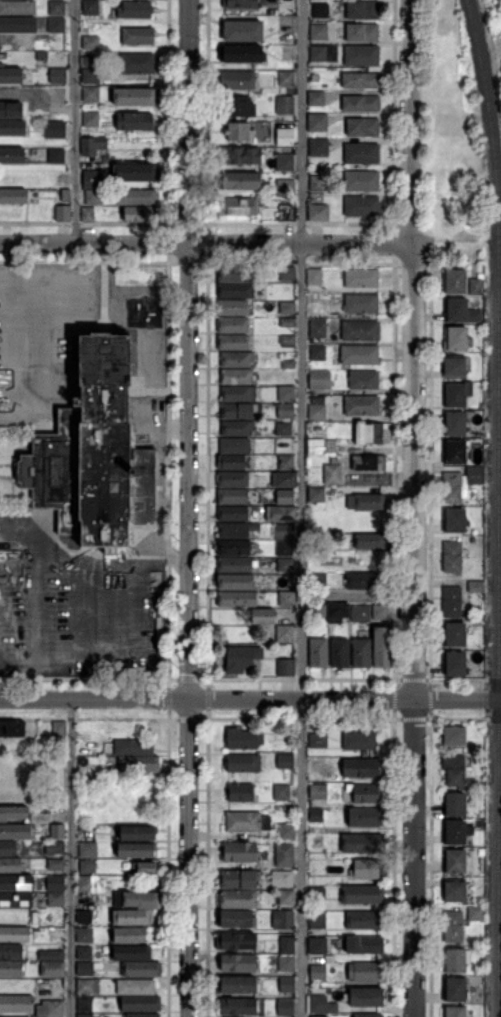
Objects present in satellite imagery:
building: (272, 1)
building: (239, 3)
building: (56, 7)
building: (89, 7)
building: (288, 7)
building: (17, 8)
building: (134, 10)
building: (320, 10)
building: (362, 10)
building: (55, 24)
building: (17, 25)
building: (243, 31)
building: (318, 32)
building: (362, 33)
building: (136, 36)
building: (89, 42)
building: (288, 53)
building: (41, 54)
building: (241, 54)
building: (318, 54)
building: (361, 55)
building: (88, 61)
building: (136, 63)
building: (57, 74)
building: (11, 75)
building: (91, 76)
building: (314, 78)
building: (285, 79)
building: (236, 80)
building: (360, 80)
building: (90, 94)
building: (57, 95)
building: (135, 96)
building: (315, 98)
building: (360, 103)
building: (287, 105)
building: (235, 107)
building: (10, 109)
railway: (489, 111)
building: (90, 119)
road: (75, 121)
building: (134, 121)
road: (189, 121)
building: (317, 122)
building: (362, 126)
building: (12, 127)
building: (53, 128)
building: (238, 132)
building: (285, 135)
building: (91, 145)
building: (318, 147)
building: (360, 153)
building: (54, 155)
building: (239, 155)
building: (11, 156)
building: (283, 162)
building: (135, 171)
building: (93, 179)
building: (58, 180)
building: (238, 180)
building: (361, 181)
building: (316, 183)
building: (285, 187)
building: (12, 195)
building: (65, 195)
building: (93, 197)
building: (136, 198)
building: (361, 206)
building: (236, 207)
building: (287, 213)
building: (316, 213)
building: (62, 214)
building: (87, 215)
building: (141, 215)
road: (205, 243)
building: (235, 274)
building: (288, 275)
building: (314, 276)
building: (361, 278)
building: (454, 281)
building: (475, 286)
building: (234, 291)
building: (360, 303)
building: (286, 307)
building: (232, 308)
building: (459, 312)
road: (6, 321)
building: (287, 322)
building: (232, 325)
building: (317, 330)
building: (360, 330)
parking lot: (40, 339)
building: (456, 339)
building: (286, 340)
building: (232, 342)
road: (411, 348)
building: (317, 353)
building: (359, 355)
building: (236, 359)
building: (288, 364)
building: (455, 367)
building: (236, 377)
building: (318, 379)
building: (363, 380)
building: (238, 394)
building: (286, 394)
building: (456, 394)
building: (362, 406)
building: (481, 406)
building: (238, 410)
building: (285, 411)
building: (317, 412)
parking lot: (149, 420)
building: (453, 424)
building: (237, 428)
building: (282, 428)
building: (367, 433)
building: (234, 446)
building: (315, 446)
building: (453, 452)
building: (93, 454)
building: (286, 460)
building: (229, 461)
building: (368, 462)
building: (332, 472)
building: (475, 475)
building: (232, 479)
building: (284, 479)
building: (451, 488)
building: (316, 495)
building: (232, 496)
building: (285, 496)
building: (369, 501)
road: (302, 508)
building: (232, 514)
building: (282, 514)
building: (454, 520)
building: (283, 530)
building: (235, 531)
building: (371, 541)
building: (233, 548)
building: (284, 548)
building: (451, 557)
building: (284, 564)
building: (233, 565)
building: (317, 578)
building: (364, 581)
building: (233, 582)
building: (283, 582)
building: (474, 585)
road: (358, 594)
parking lot: (78, 595)
building: (287, 598)
building: (236, 599)
building: (452, 602)
building: (317, 610)
building: (337, 612)
building: (380, 612)
road: (17, 613)
building: (360, 613)
building: (262, 616)
railway: (499, 620)
road: (189, 630)
building: (284, 633)
building: (454, 634)
building: (382, 647)
building: (318, 653)
building: (339, 653)
building: (361, 653)
building: (241, 658)
building: (454, 664)
building: (284, 667)
road: (250, 698)
building: (58, 728)
building: (11, 729)
building: (92, 730)
building: (454, 736)
building: (242, 738)
building: (314, 738)
building: (358, 739)
building: (134, 747)
building: (284, 761)
building: (242, 762)
building: (139, 763)
building: (318, 765)
building: (361, 768)
building: (453, 769)
building: (477, 785)
building: (281, 791)
building: (318, 791)
building: (240, 792)
building: (366, 794)
building: (454, 804)
building: (480, 811)
building: (12, 813)
building: (56, 813)
building: (316, 814)
building: (366, 817)
building: (248, 821)
building: (477, 822)
building: (14, 831)
building: (56, 831)
building: (286, 831)
building: (456, 831)
building: (136, 833)
building: (362, 843)
building: (7, 847)
building: (54, 847)
building: (87, 849)
building: (137, 850)
building: (239, 852)
building: (284, 855)
road: (71, 857)
road: (414, 857)
building: (454, 861)
building: (9, 865)
building: (55, 865)
building: (87, 865)
building: (143, 868)
building: (367, 868)
building: (282, 878)
building: (238, 879)
building: (16, 883)
building: (86, 883)
building: (55, 884)
building: (316, 891)
building: (454, 891)
building: (361, 894)
building: (286, 897)
building: (55, 898)
building: (15, 899)
building: (237, 899)
building: (138, 900)
building: (475, 913)
building: (83, 916)
building: (234, 917)
building: (131, 918)
building: (282, 919)
building: (317, 919)
building: (364, 920)
building: (452, 927)
building: (56, 933)
building: (14, 934)
building: (84, 934)
building: (128, 935)
building: (236, 940)
building: (364, 944)
building: (286, 945)
building: (317, 945)
building: (10, 951)
building: (83, 952)
building: (131, 953)
building: (56, 955)
building: (455, 959)
building: (237, 963)
building: (286, 963)
building: (10, 968)
building: (84, 968)
building: (141, 968)
building: (52, 969)
building: (317, 971)
building: (365, 971)
building: (478, 971)
building: (236, 984)
building: (286, 984)
building: (85, 986)
building: (134, 986)
building: (454, 988)
building: (364, 997)
building: (16, 1003)
building: (140, 1003)
building: (317, 1003)
building: (84, 1004)
building: (236, 1007)
building: (285, 1007)
building: (54, 1009)
building: (453, 1012)
building: (141, 1015)
building: (367, 1015)
building: (18, 1016)
building: (85, 1016)
building: (317, 1016)

